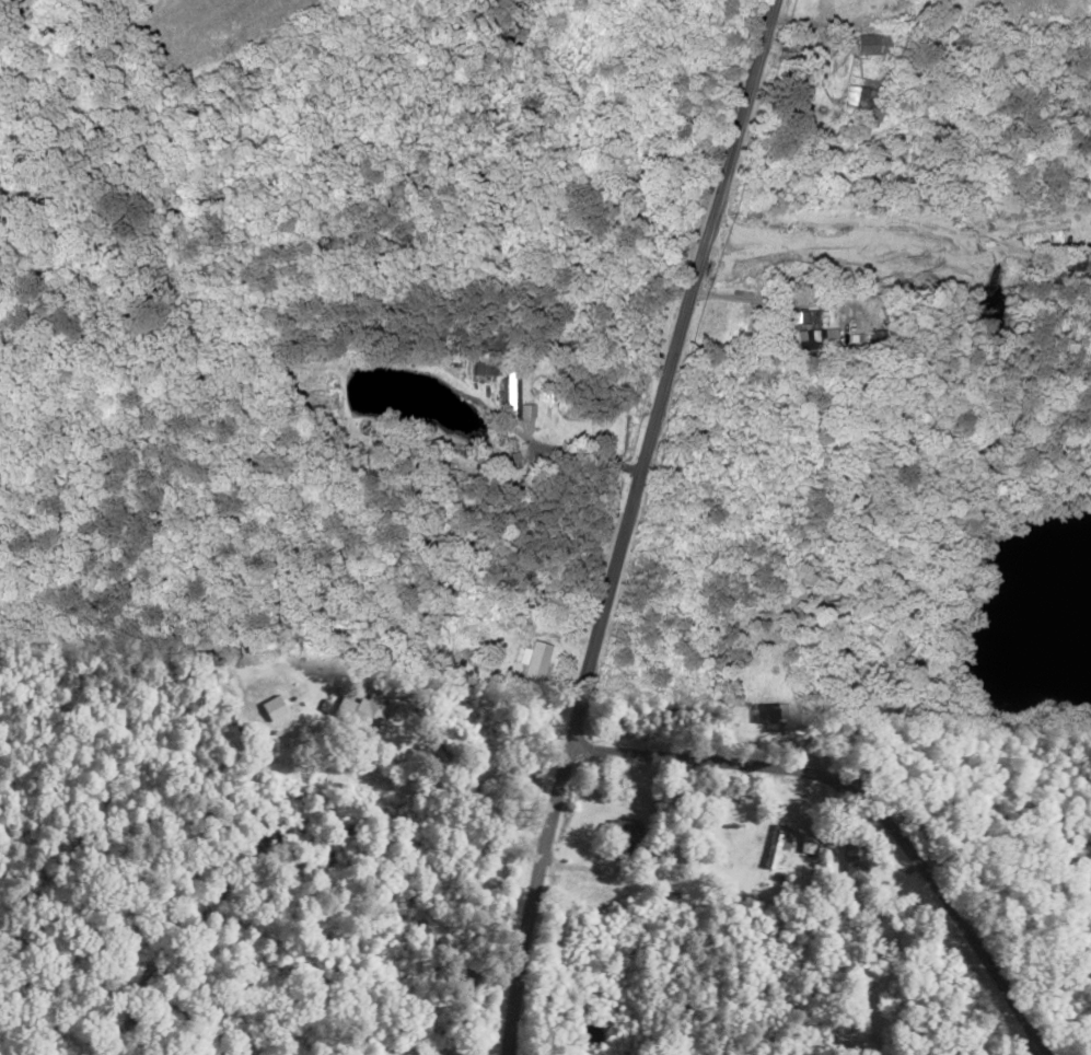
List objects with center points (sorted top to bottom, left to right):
building: (870, 43)
building: (862, 102)
building: (1080, 257)
building: (741, 324)
building: (816, 337)
building: (513, 393)
road: (629, 522)
building: (538, 659)
building: (364, 711)
building: (767, 711)
road: (861, 814)
building: (624, 832)
building: (778, 844)
building: (850, 861)

